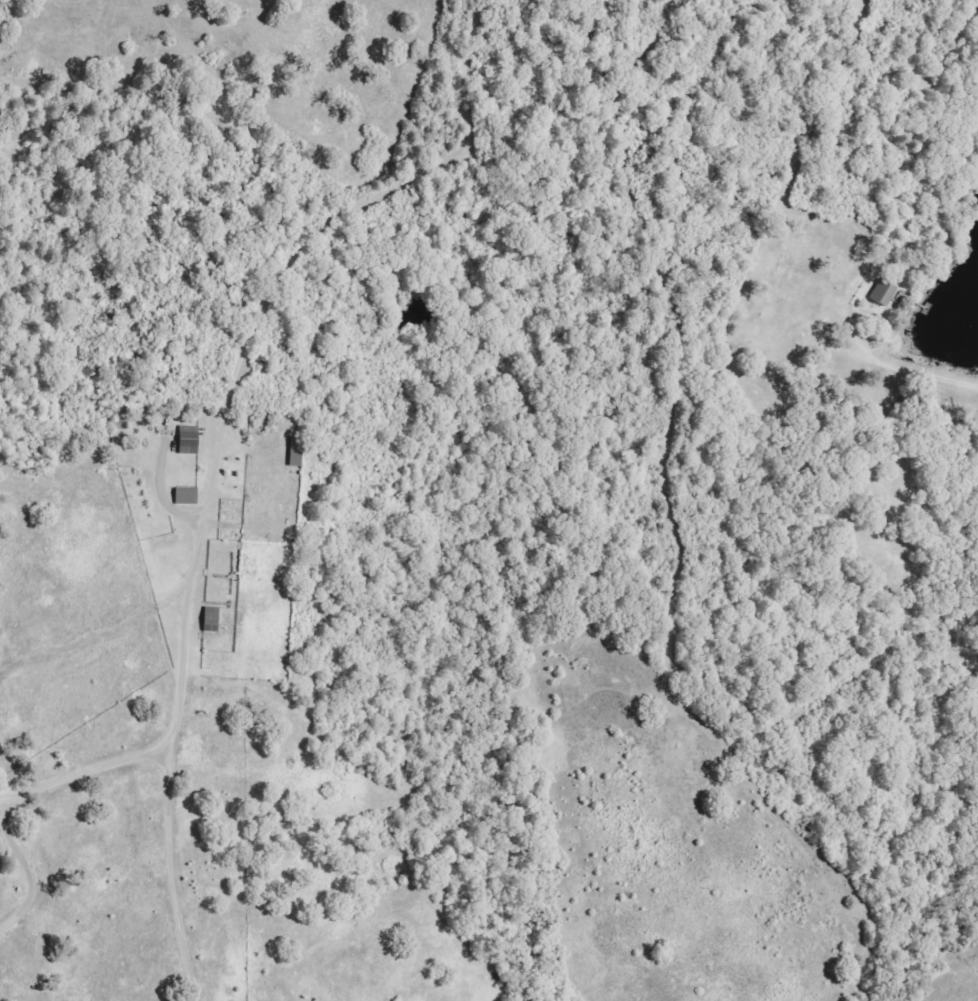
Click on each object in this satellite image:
building: (884, 293)
road: (256, 370)
building: (188, 498)

